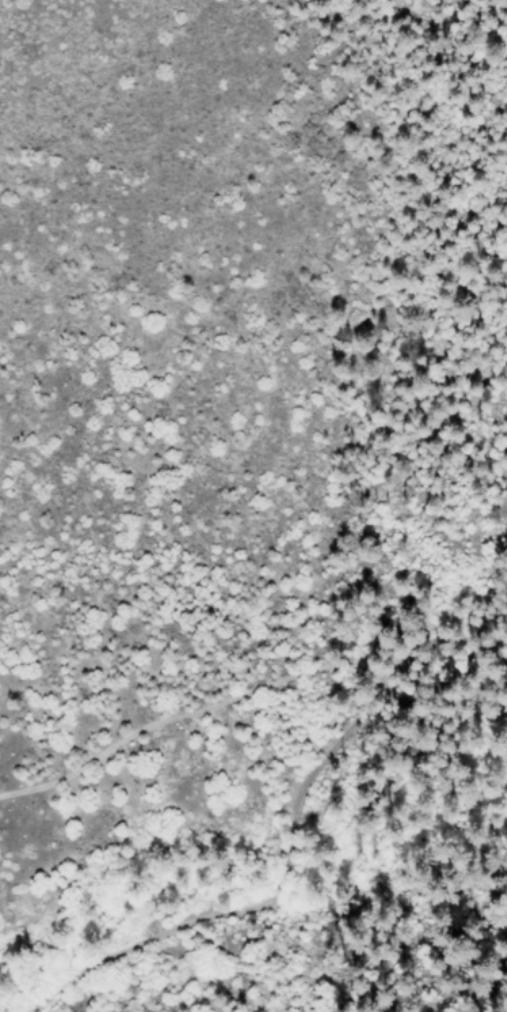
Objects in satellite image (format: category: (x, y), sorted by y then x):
road: (271, 906)

